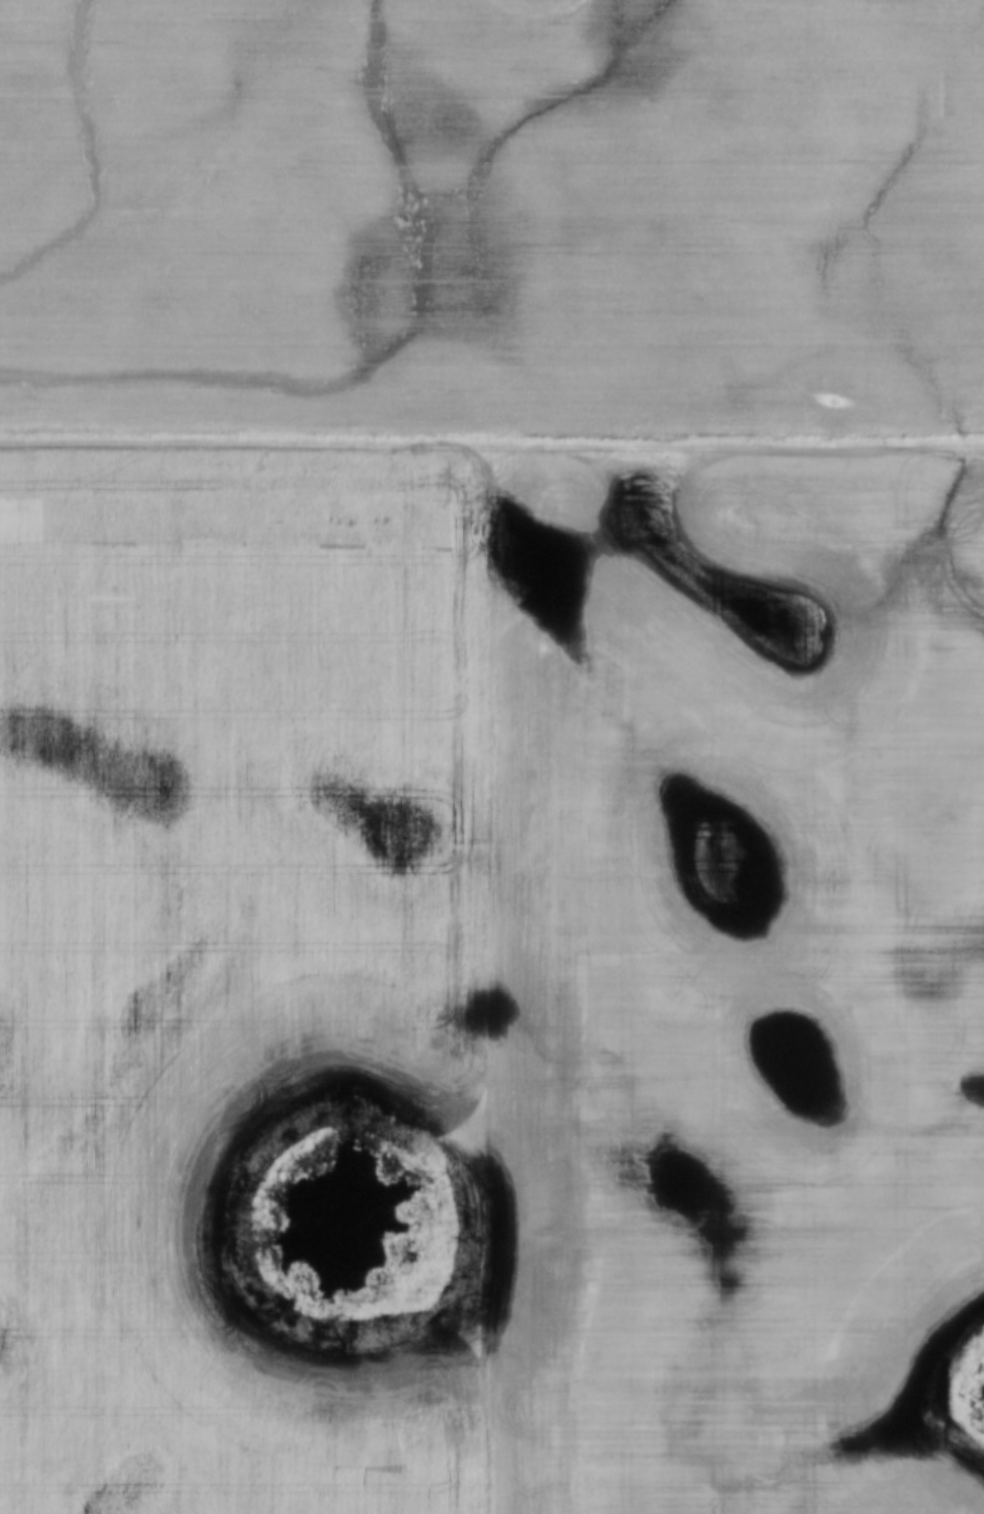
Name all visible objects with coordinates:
road: (491, 448)

